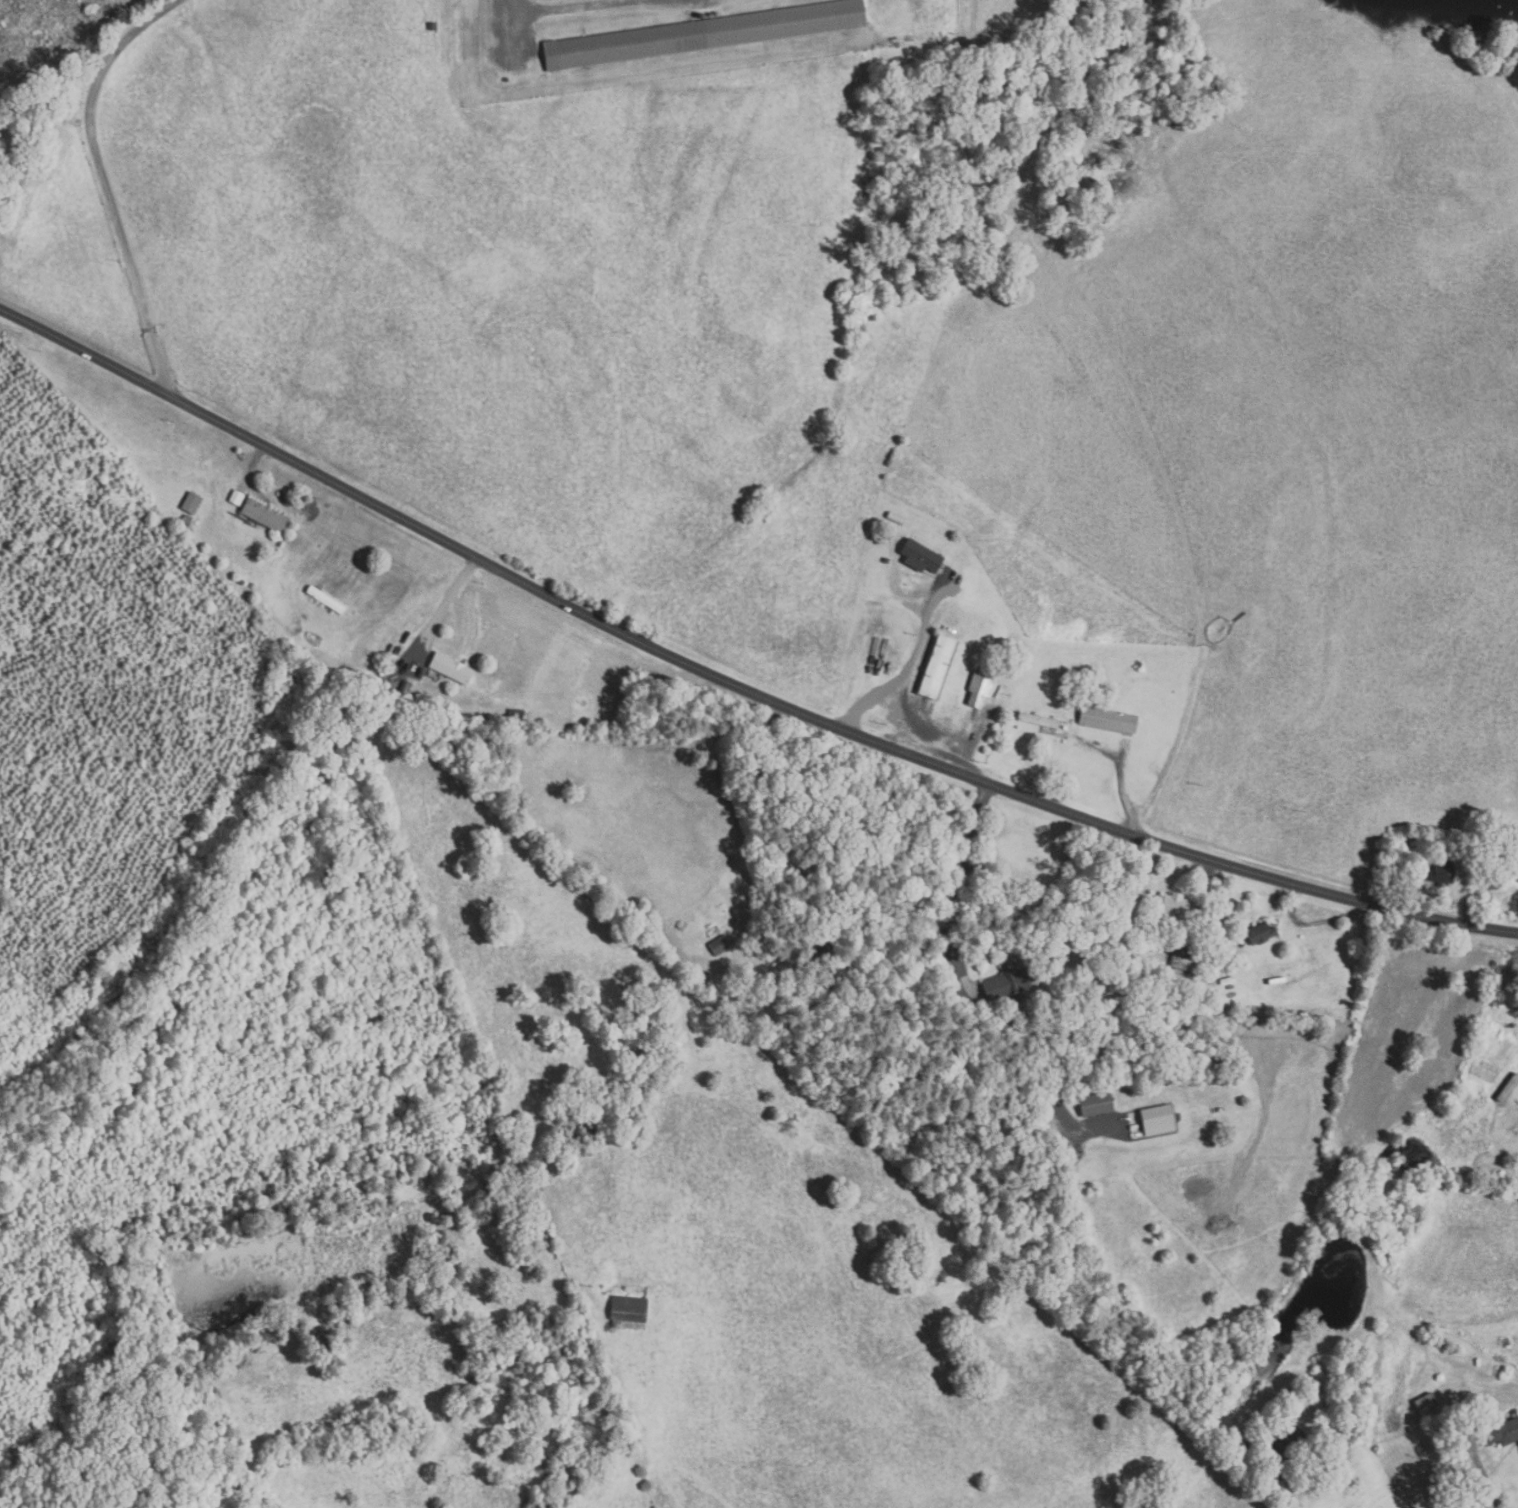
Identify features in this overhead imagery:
road: (511, 14)
building: (432, 26)
building: (705, 34)
road: (106, 183)
building: (236, 498)
building: (191, 503)
building: (263, 516)
building: (187, 520)
building: (920, 557)
building: (886, 561)
building: (241, 582)
building: (251, 586)
building: (325, 600)
road: (446, 605)
building: (395, 651)
road: (906, 665)
building: (450, 668)
building: (937, 668)
road: (733, 684)
building: (979, 689)
building: (403, 690)
building: (515, 717)
building: (1107, 719)
building: (1037, 720)
road: (802, 832)
building: (1441, 873)
road: (956, 890)
building: (1169, 908)
building: (733, 920)
building: (1260, 934)
building: (821, 941)
building: (719, 945)
building: (1212, 953)
building: (1182, 958)
building: (1159, 974)
building: (852, 985)
building: (1006, 985)
building: (827, 992)
building: (1294, 1084)
building: (1095, 1105)
building: (1157, 1121)
river: (1346, 1264)
river: (296, 1269)
building: (628, 1312)
building: (1316, 1400)
building: (1426, 1405)
building: (1501, 1431)
building: (1288, 1442)
building: (1244, 1447)
road: (1294, 1493)
building: (1476, 1497)

